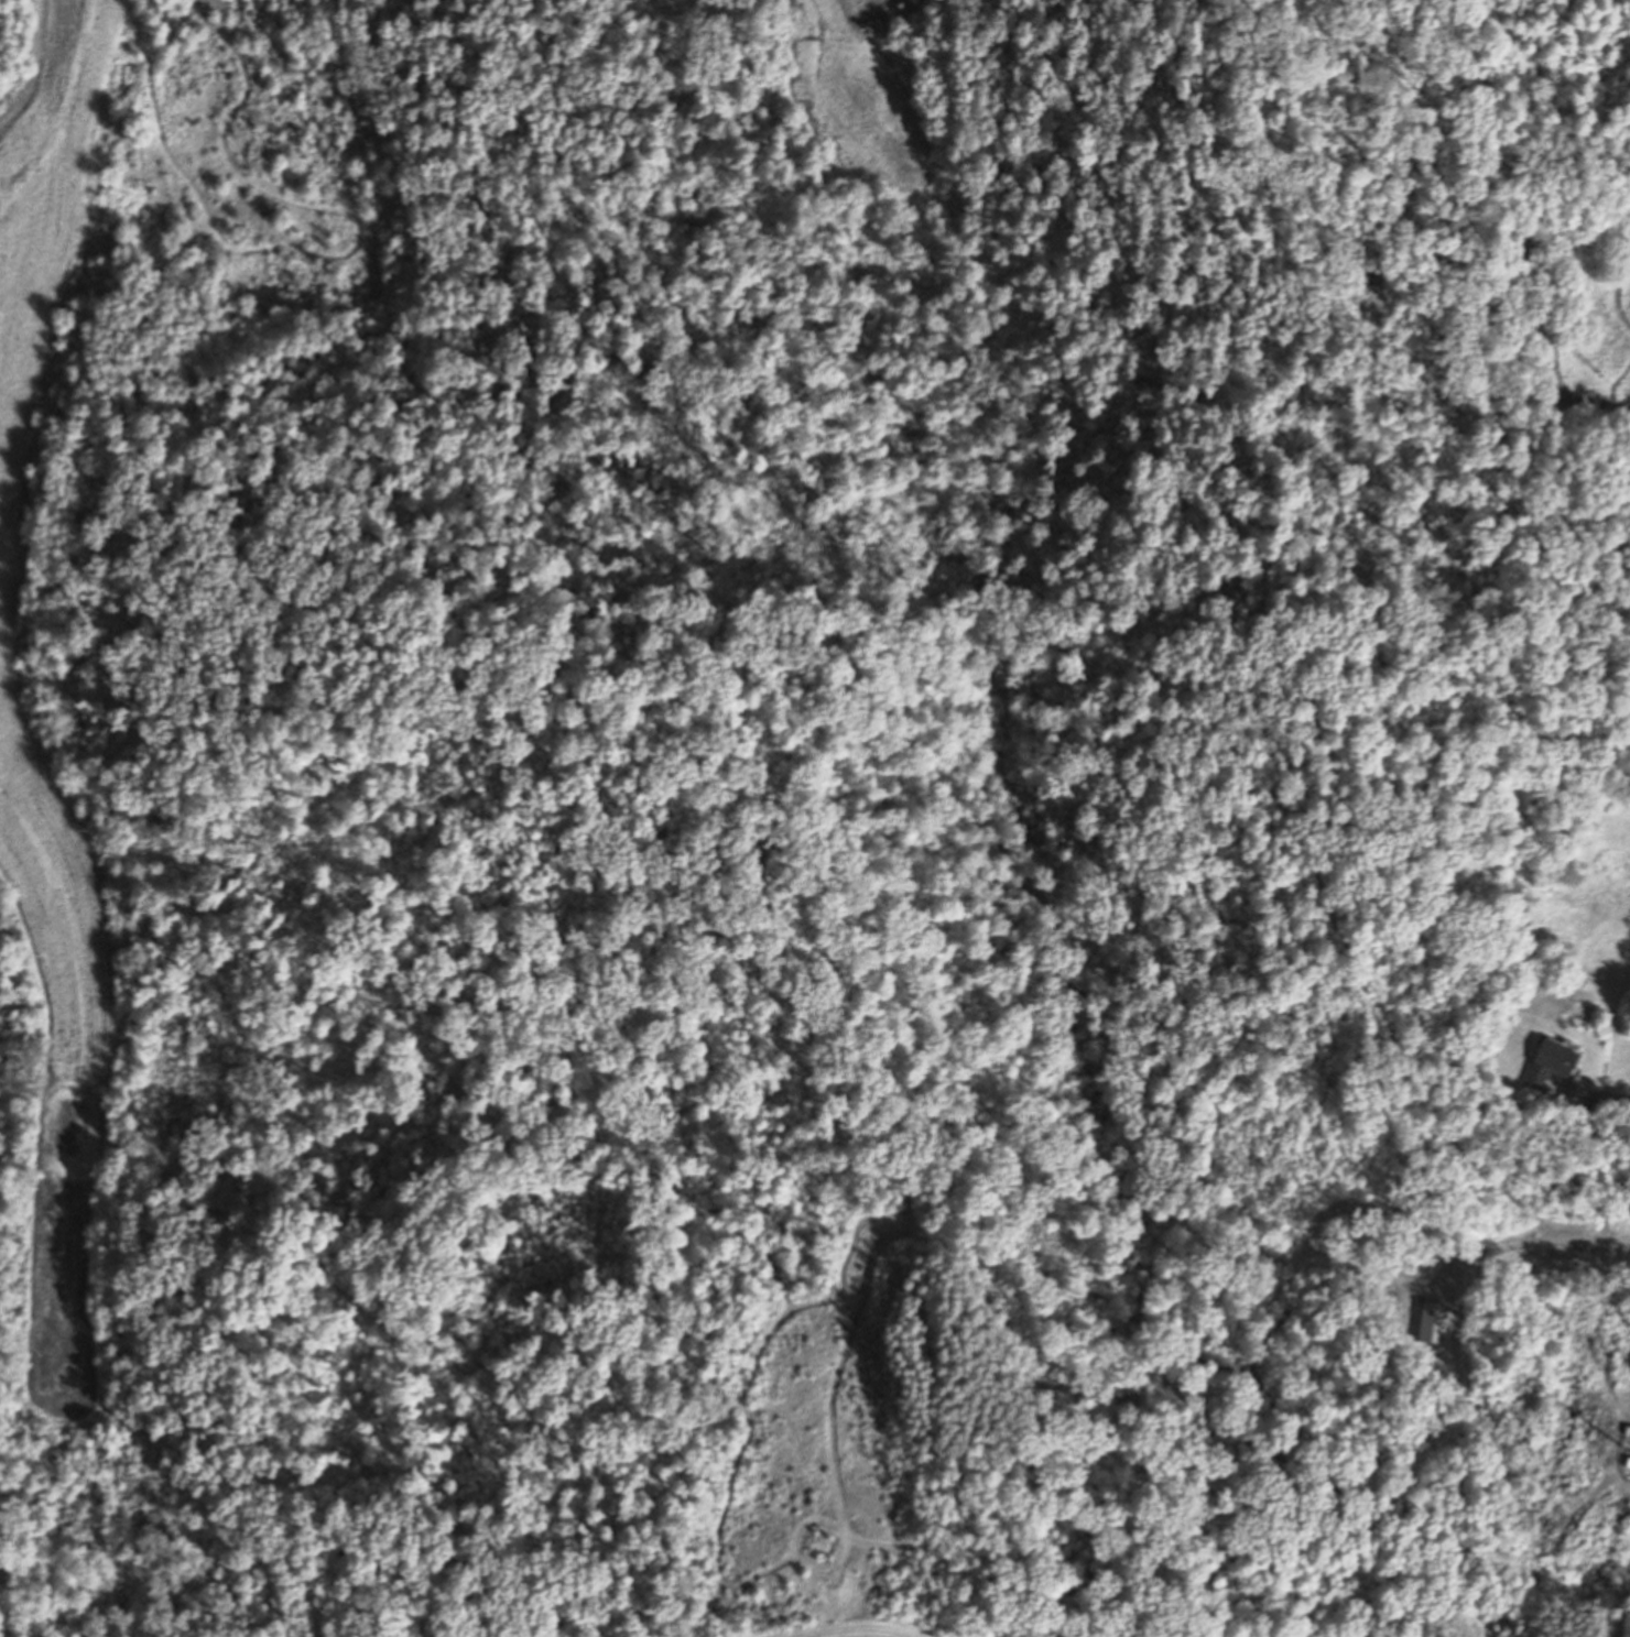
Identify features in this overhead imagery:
building: (1548, 1062)
road: (1598, 1100)
building: (1627, 1430)

